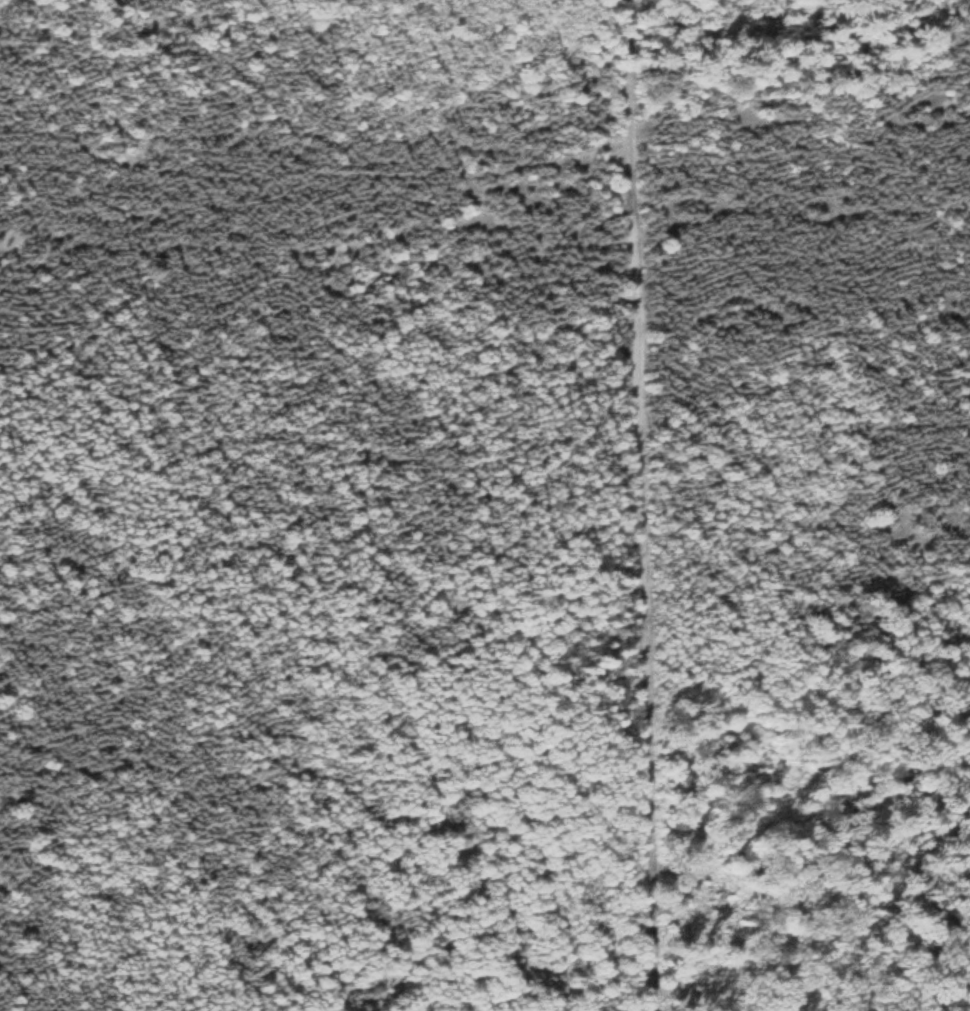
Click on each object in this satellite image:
road: (497, 173)
road: (646, 505)

